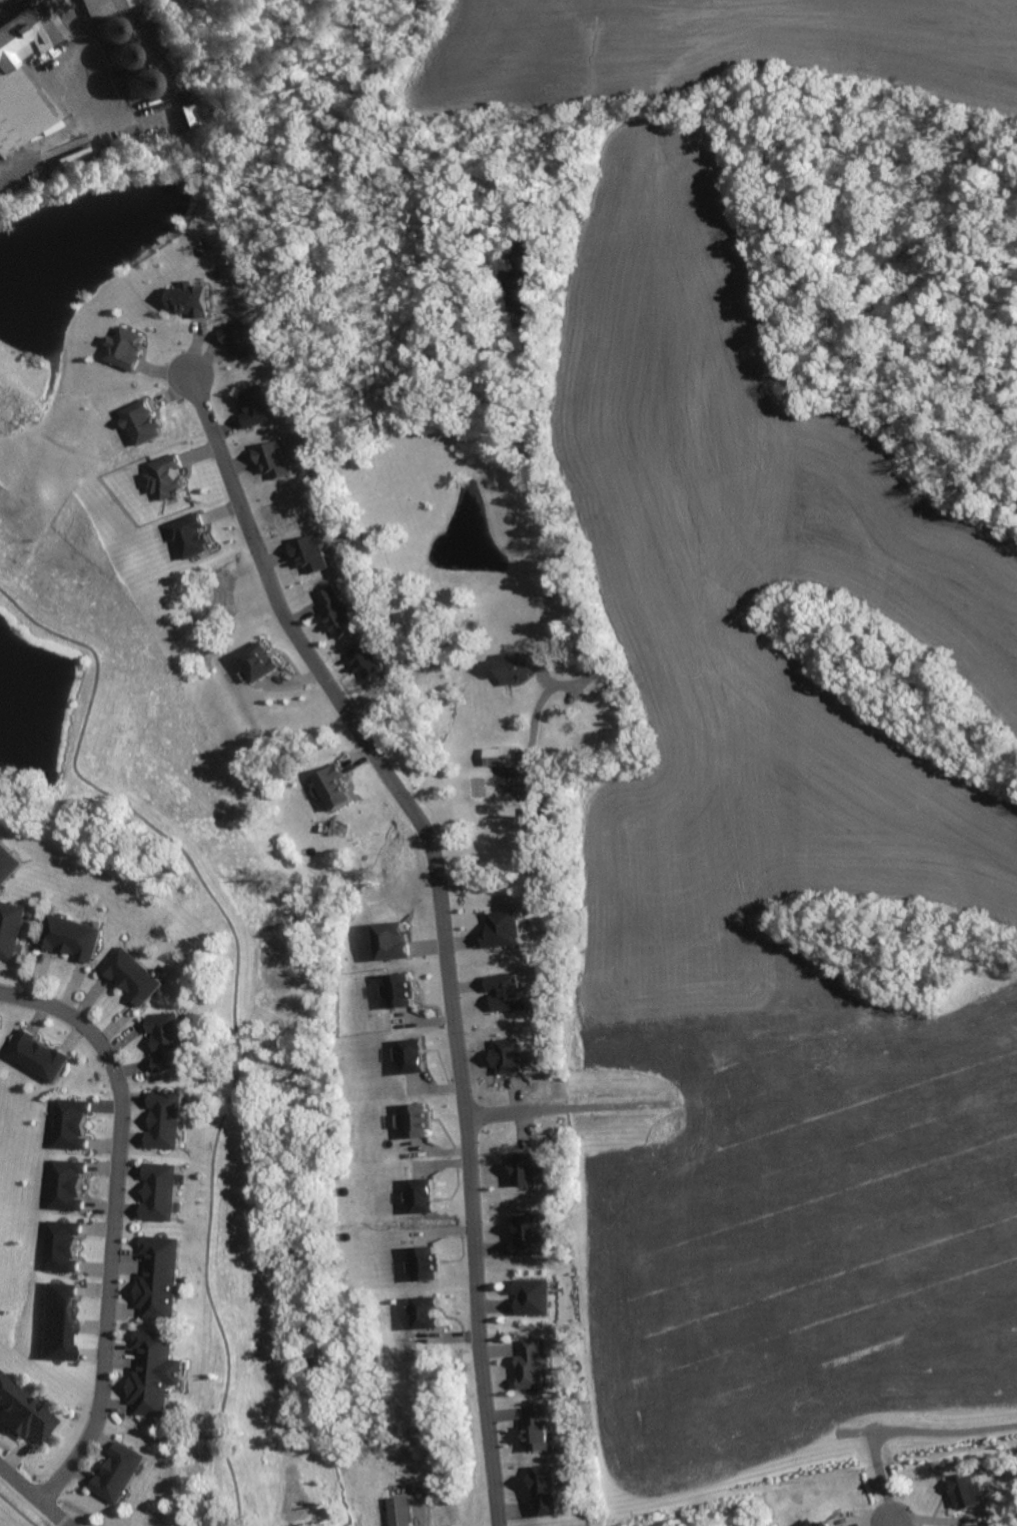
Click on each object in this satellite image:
building: (83, 1)
building: (126, 2)
building: (118, 59)
building: (15, 94)
building: (189, 114)
building: (187, 298)
road: (464, 333)
building: (240, 338)
building: (123, 347)
building: (255, 405)
building: (139, 421)
building: (272, 458)
building: (164, 477)
building: (187, 535)
building: (307, 552)
building: (336, 611)
building: (364, 658)
building: (255, 661)
building: (518, 666)
road: (541, 704)
building: (498, 756)
building: (331, 786)
building: (1, 844)
building: (7, 864)
building: (10, 917)
road: (443, 920)
building: (499, 929)
building: (53, 932)
building: (389, 940)
building: (80, 941)
building: (8, 945)
building: (122, 965)
building: (142, 985)
building: (399, 990)
building: (505, 992)
building: (162, 1028)
building: (24, 1048)
building: (410, 1055)
building: (505, 1055)
building: (166, 1057)
building: (48, 1062)
building: (163, 1106)
building: (70, 1110)
road: (509, 1117)
building: (414, 1120)
building: (160, 1134)
building: (68, 1135)
building: (520, 1170)
building: (65, 1171)
building: (159, 1176)
building: (419, 1195)
building: (63, 1197)
building: (157, 1204)
road: (114, 1222)
building: (60, 1232)
building: (524, 1235)
building: (159, 1249)
building: (58, 1258)
building: (420, 1263)
building: (157, 1278)
building: (56, 1293)
building: (529, 1295)
building: (155, 1304)
building: (421, 1311)
building: (54, 1319)
building: (152, 1343)
building: (53, 1345)
building: (529, 1364)
building: (154, 1372)
building: (4, 1382)
building: (146, 1400)
building: (14, 1404)
building: (32, 1420)
building: (534, 1427)
building: (122, 1459)
building: (107, 1484)
building: (541, 1487)
building: (964, 1489)
road: (33, 1496)
building: (395, 1510)
building: (804, 1523)
road: (890, 1523)
building: (819, 1524)

